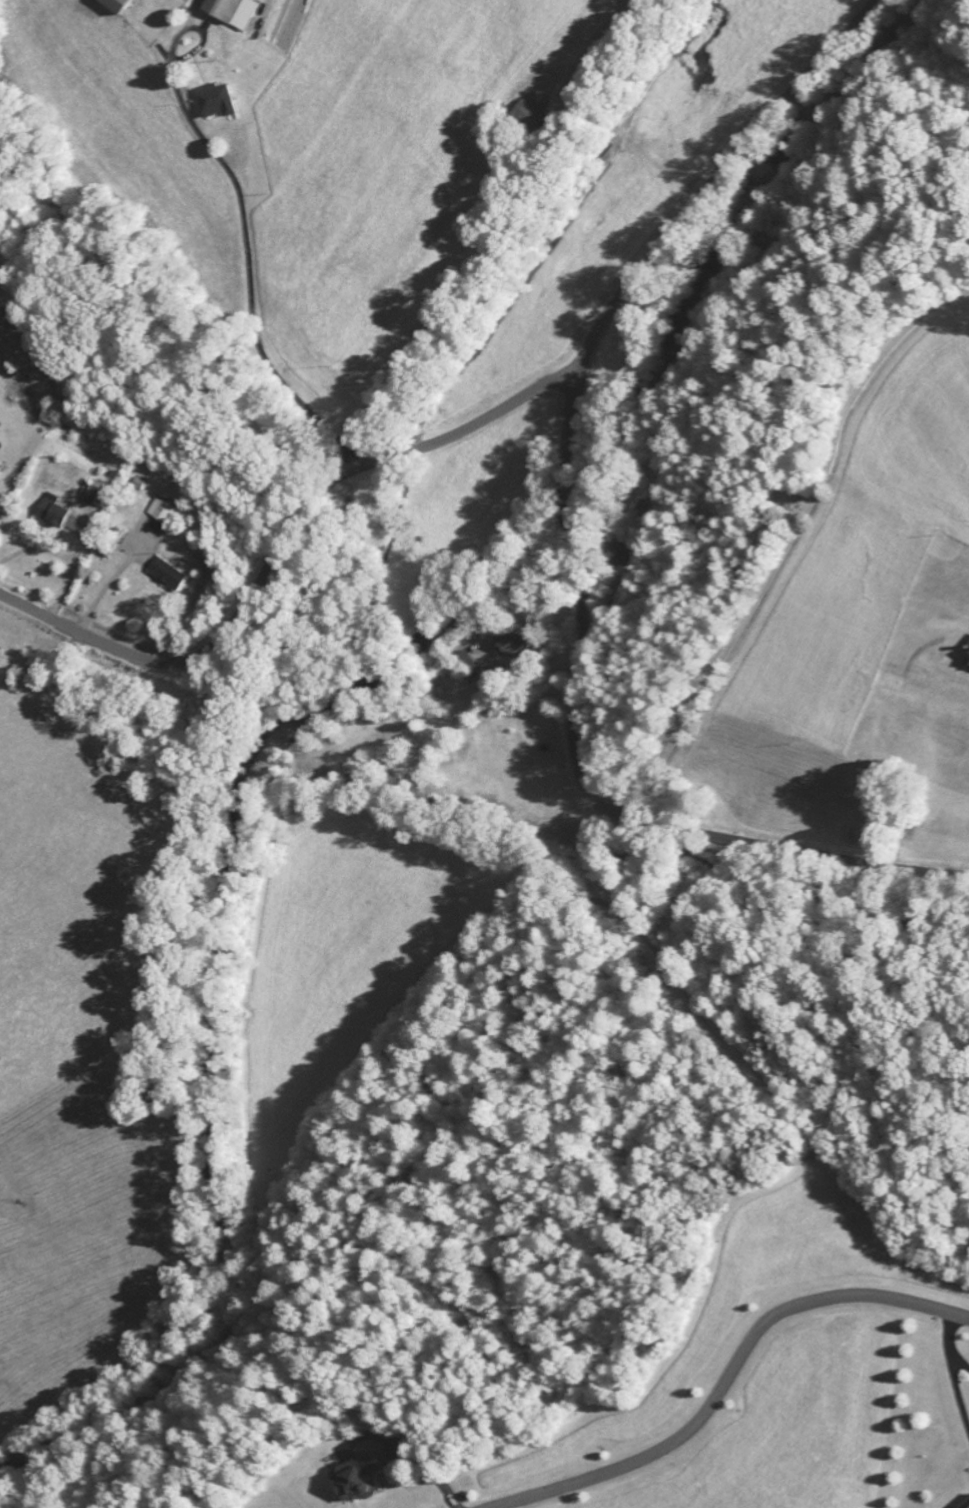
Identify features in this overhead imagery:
building: (118, 6)
building: (233, 12)
building: (216, 103)
road: (268, 327)
building: (91, 496)
building: (160, 513)
building: (56, 516)
road: (576, 543)
road: (281, 550)
building: (167, 577)
building: (512, 647)
building: (966, 662)
road: (728, 1377)
building: (357, 1480)
building: (967, 1507)

